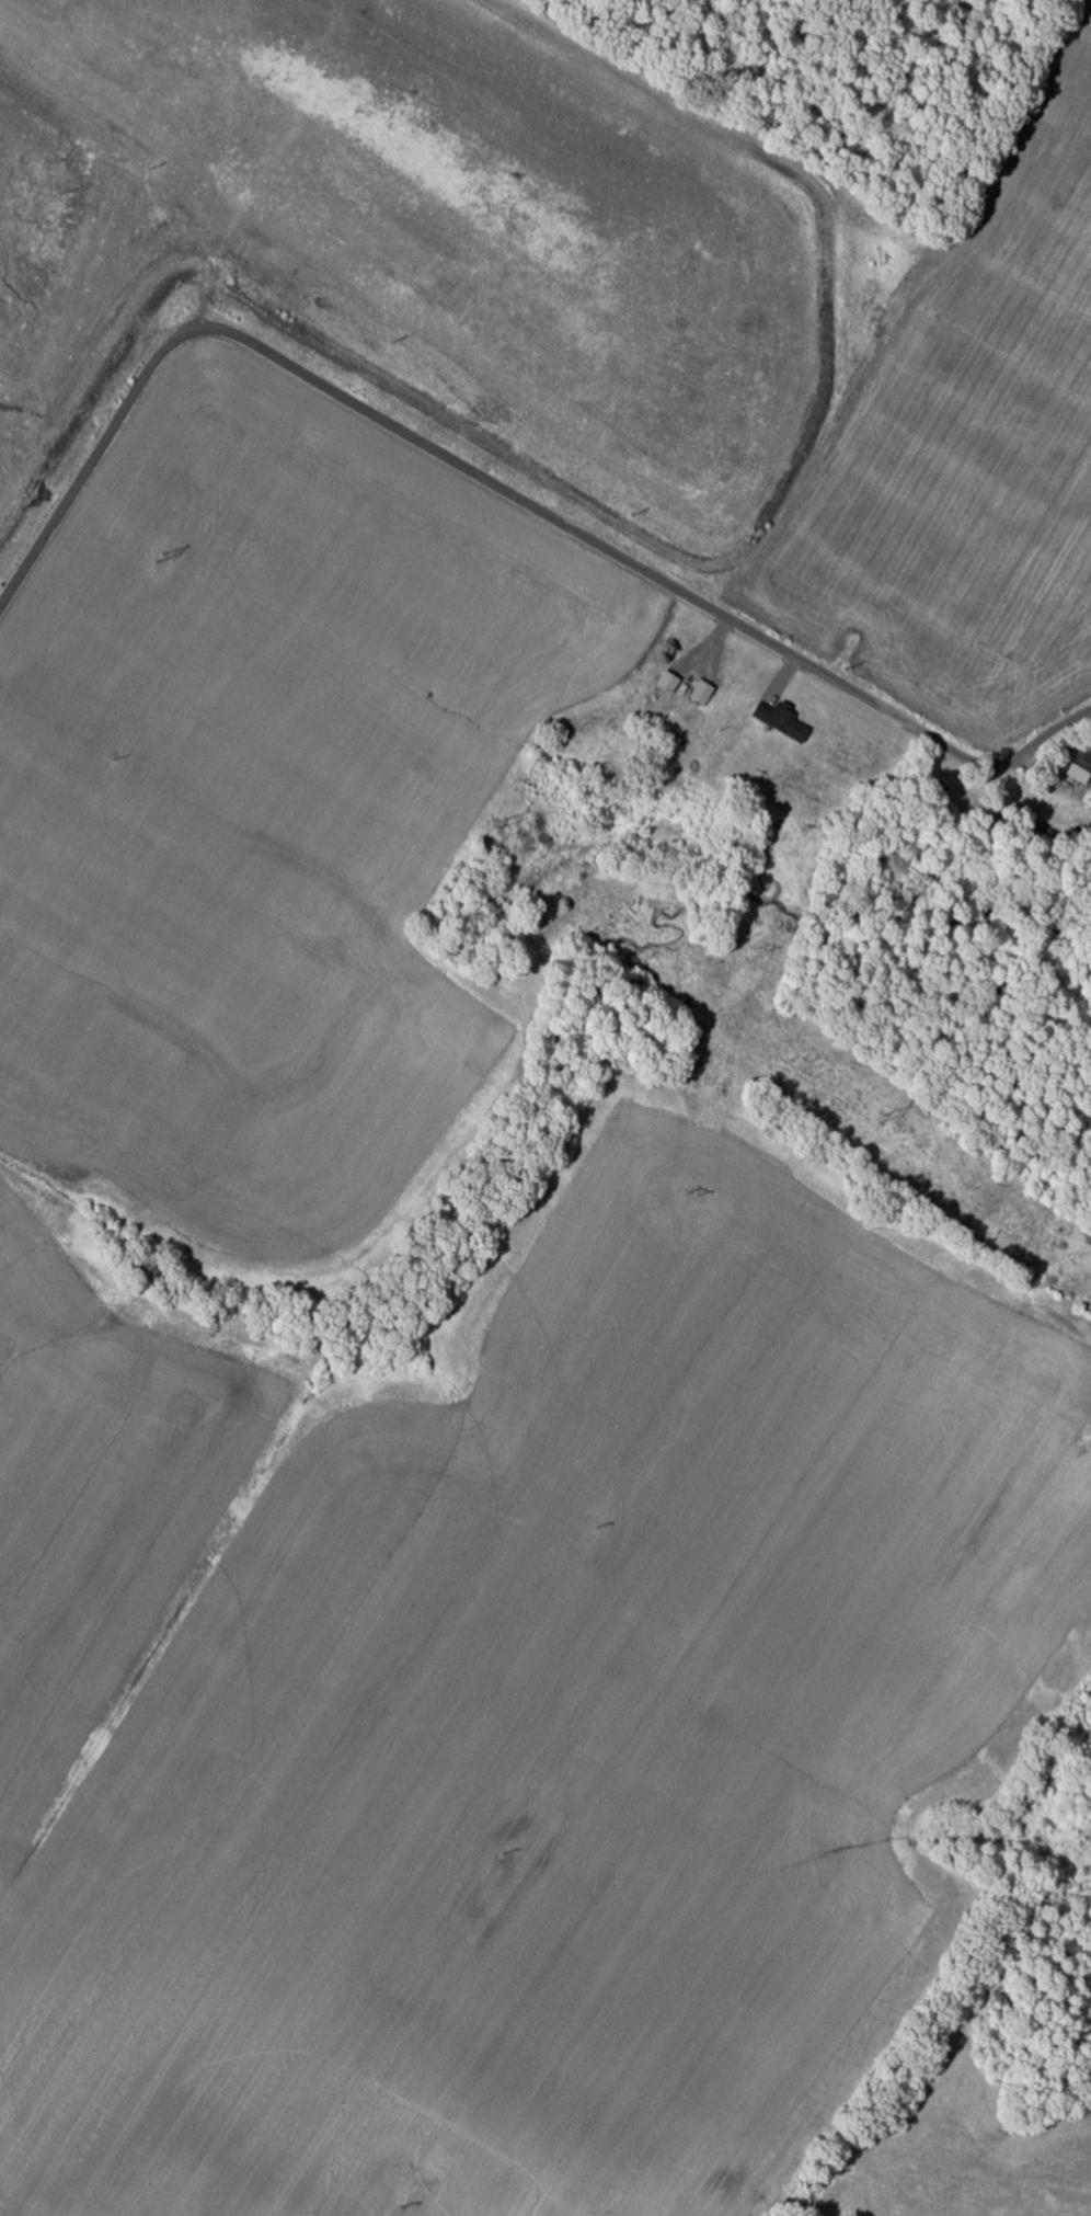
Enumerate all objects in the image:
road: (497, 484)
building: (670, 682)
building: (704, 693)
building: (783, 721)
building: (1082, 768)

